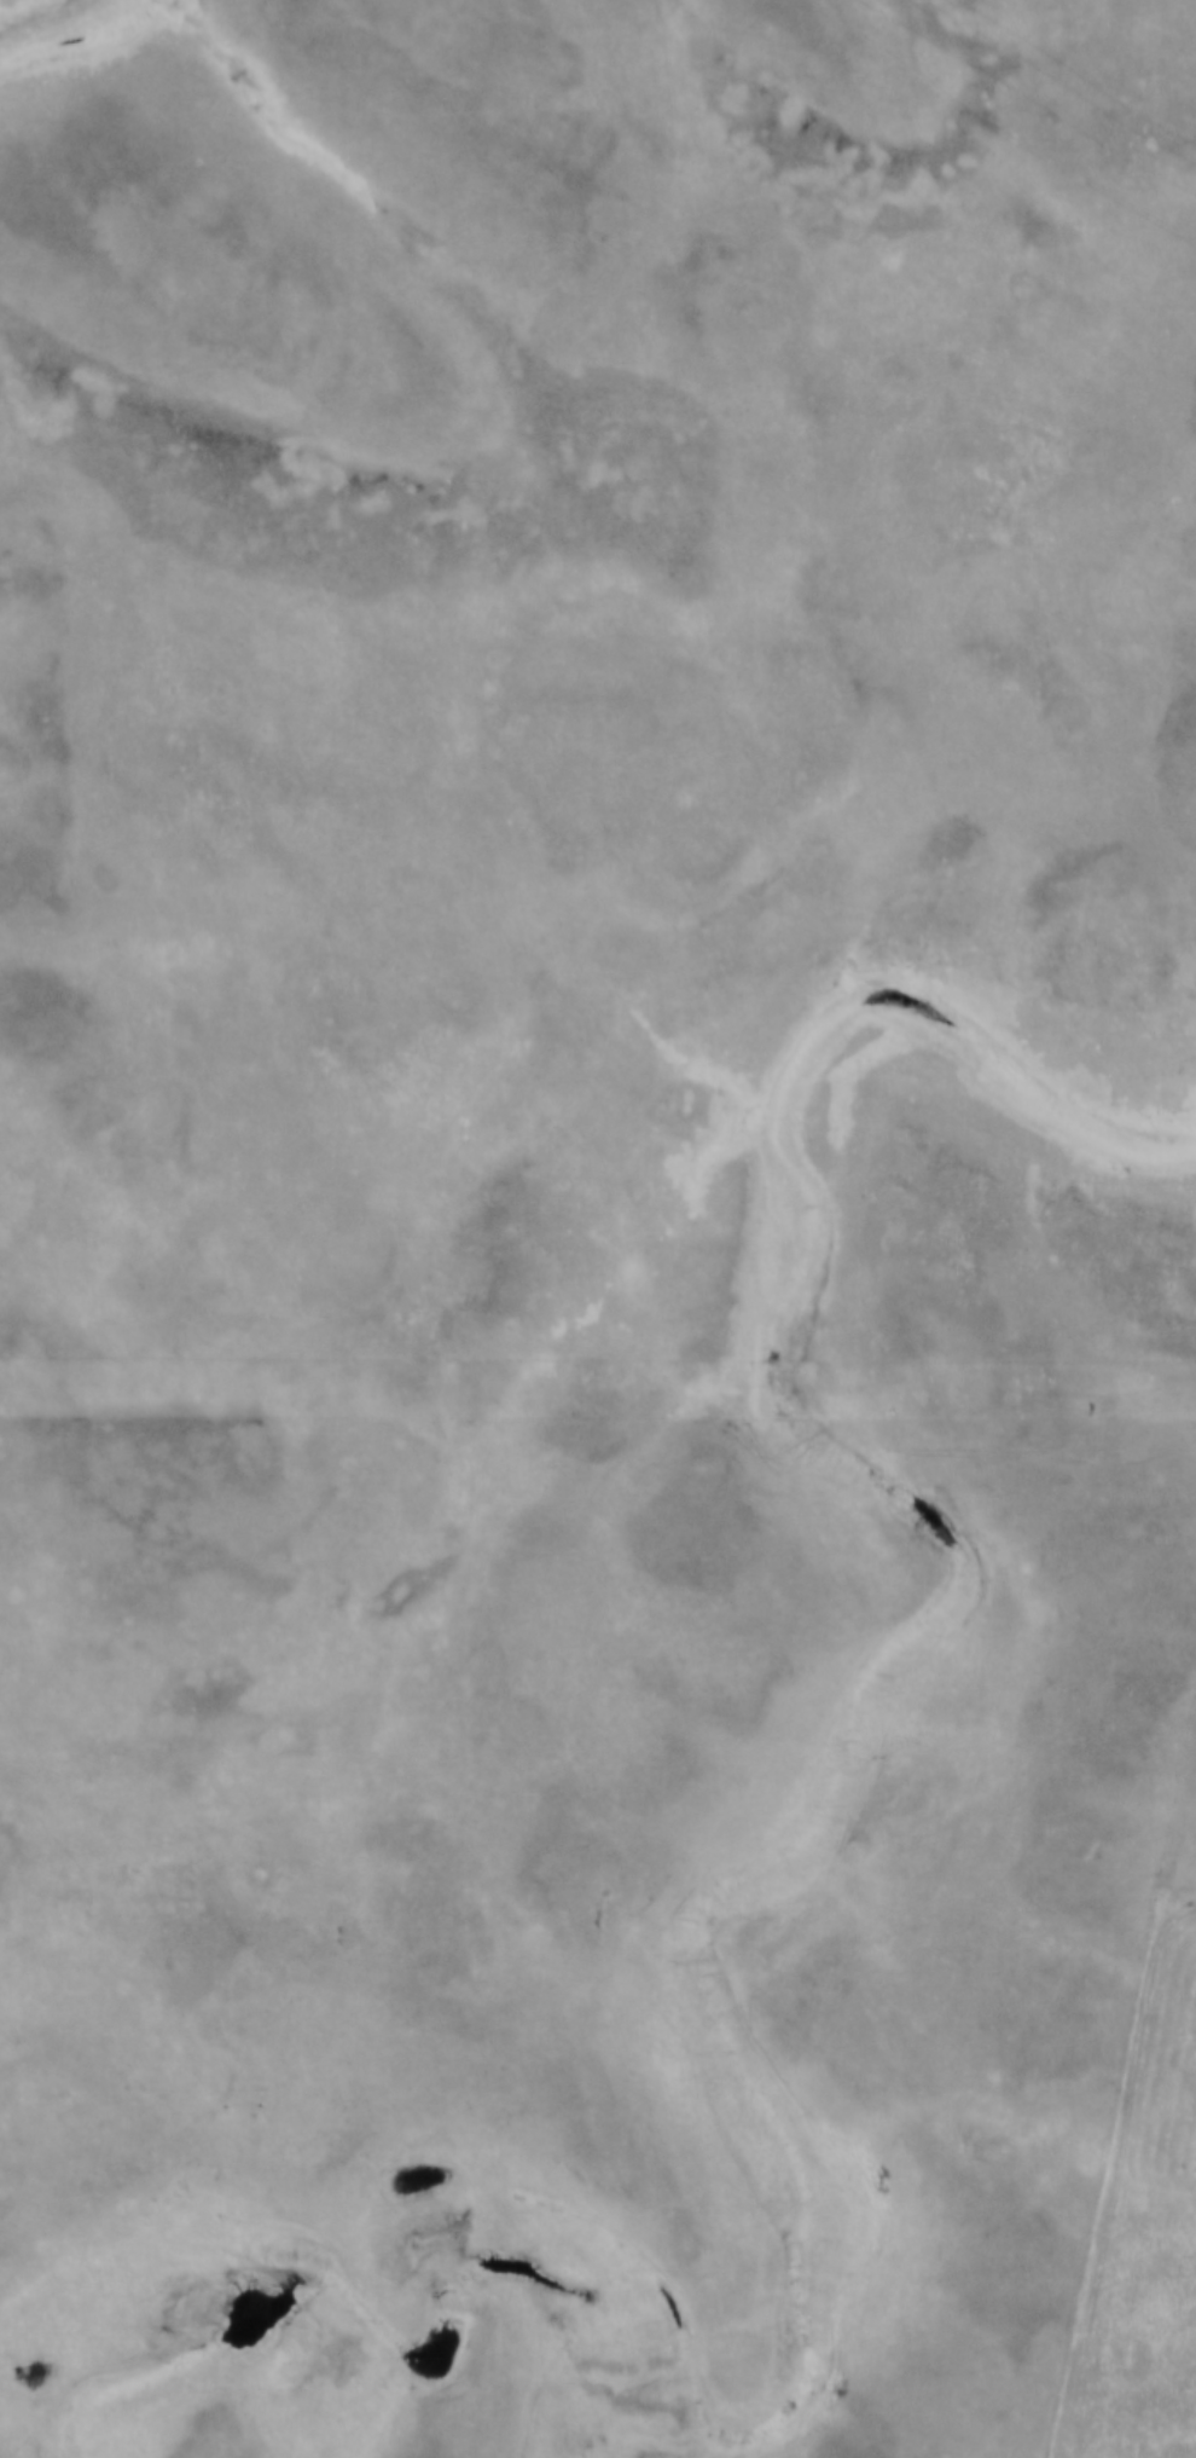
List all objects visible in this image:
road: (1116, 2171)

